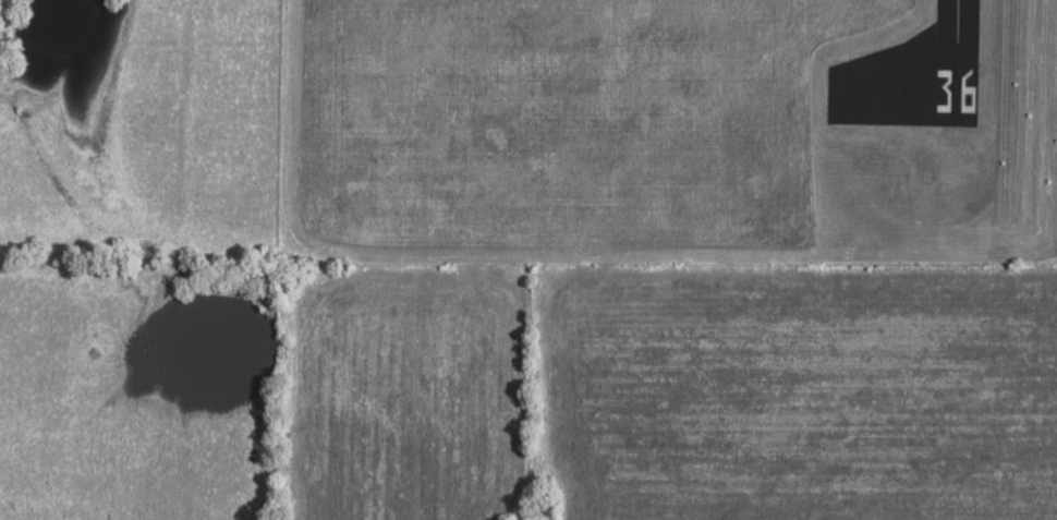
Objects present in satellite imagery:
airport runway: (961, 43)
airport taxiway: (906, 87)

